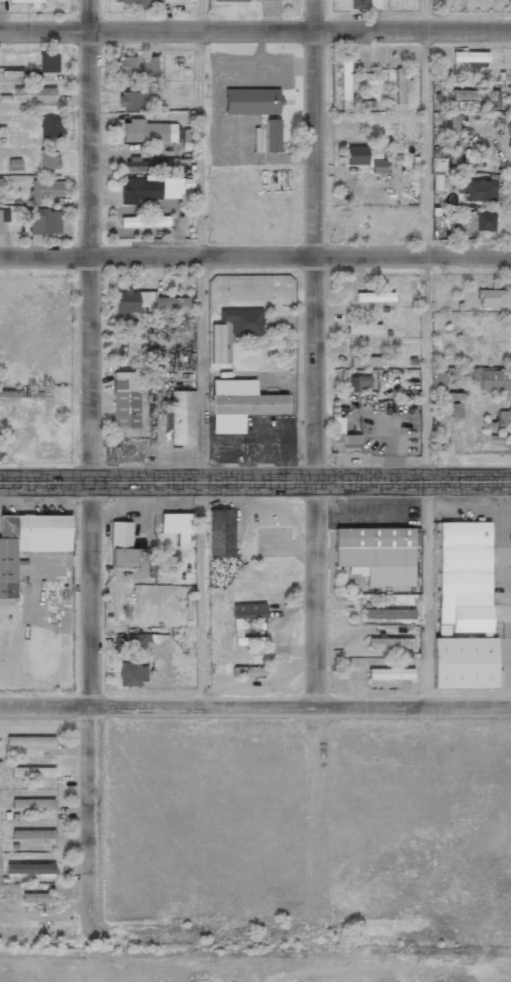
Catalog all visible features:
building: (230, 0)
building: (24, 2)
building: (140, 2)
building: (364, 4)
road: (255, 30)
building: (470, 56)
building: (48, 62)
building: (149, 63)
building: (126, 66)
building: (344, 84)
building: (399, 86)
building: (36, 93)
building: (474, 97)
building: (128, 100)
building: (251, 101)
building: (366, 104)
building: (50, 127)
building: (147, 131)
building: (272, 135)
building: (453, 138)
building: (362, 154)
building: (469, 155)
building: (48, 159)
building: (14, 164)
building: (145, 165)
building: (378, 165)
building: (437, 166)
building: (505, 180)
building: (150, 188)
building: (45, 190)
building: (478, 190)
building: (44, 221)
building: (144, 221)
building: (484, 221)
building: (0, 225)
road: (255, 256)
building: (374, 297)
building: (491, 297)
building: (146, 301)
building: (243, 321)
building: (363, 326)
building: (130, 340)
building: (217, 343)
building: (227, 350)
road: (200, 353)
road: (425, 353)
building: (370, 361)
building: (154, 376)
building: (487, 377)
building: (437, 378)
building: (358, 383)
building: (10, 393)
building: (455, 396)
building: (125, 404)
building: (240, 404)
building: (182, 417)
building: (502, 418)
building: (347, 440)
road: (86, 469)
road: (255, 480)
road: (317, 480)
building: (176, 526)
building: (28, 542)
building: (121, 545)
building: (377, 554)
building: (464, 609)
building: (248, 610)
building: (388, 614)
building: (237, 627)
building: (136, 641)
building: (250, 641)
building: (389, 642)
building: (249, 671)
building: (390, 673)
building: (133, 674)
road: (255, 706)
building: (30, 740)
building: (33, 772)
building: (32, 803)
building: (33, 834)
building: (45, 866)
building: (37, 897)
road: (255, 954)

